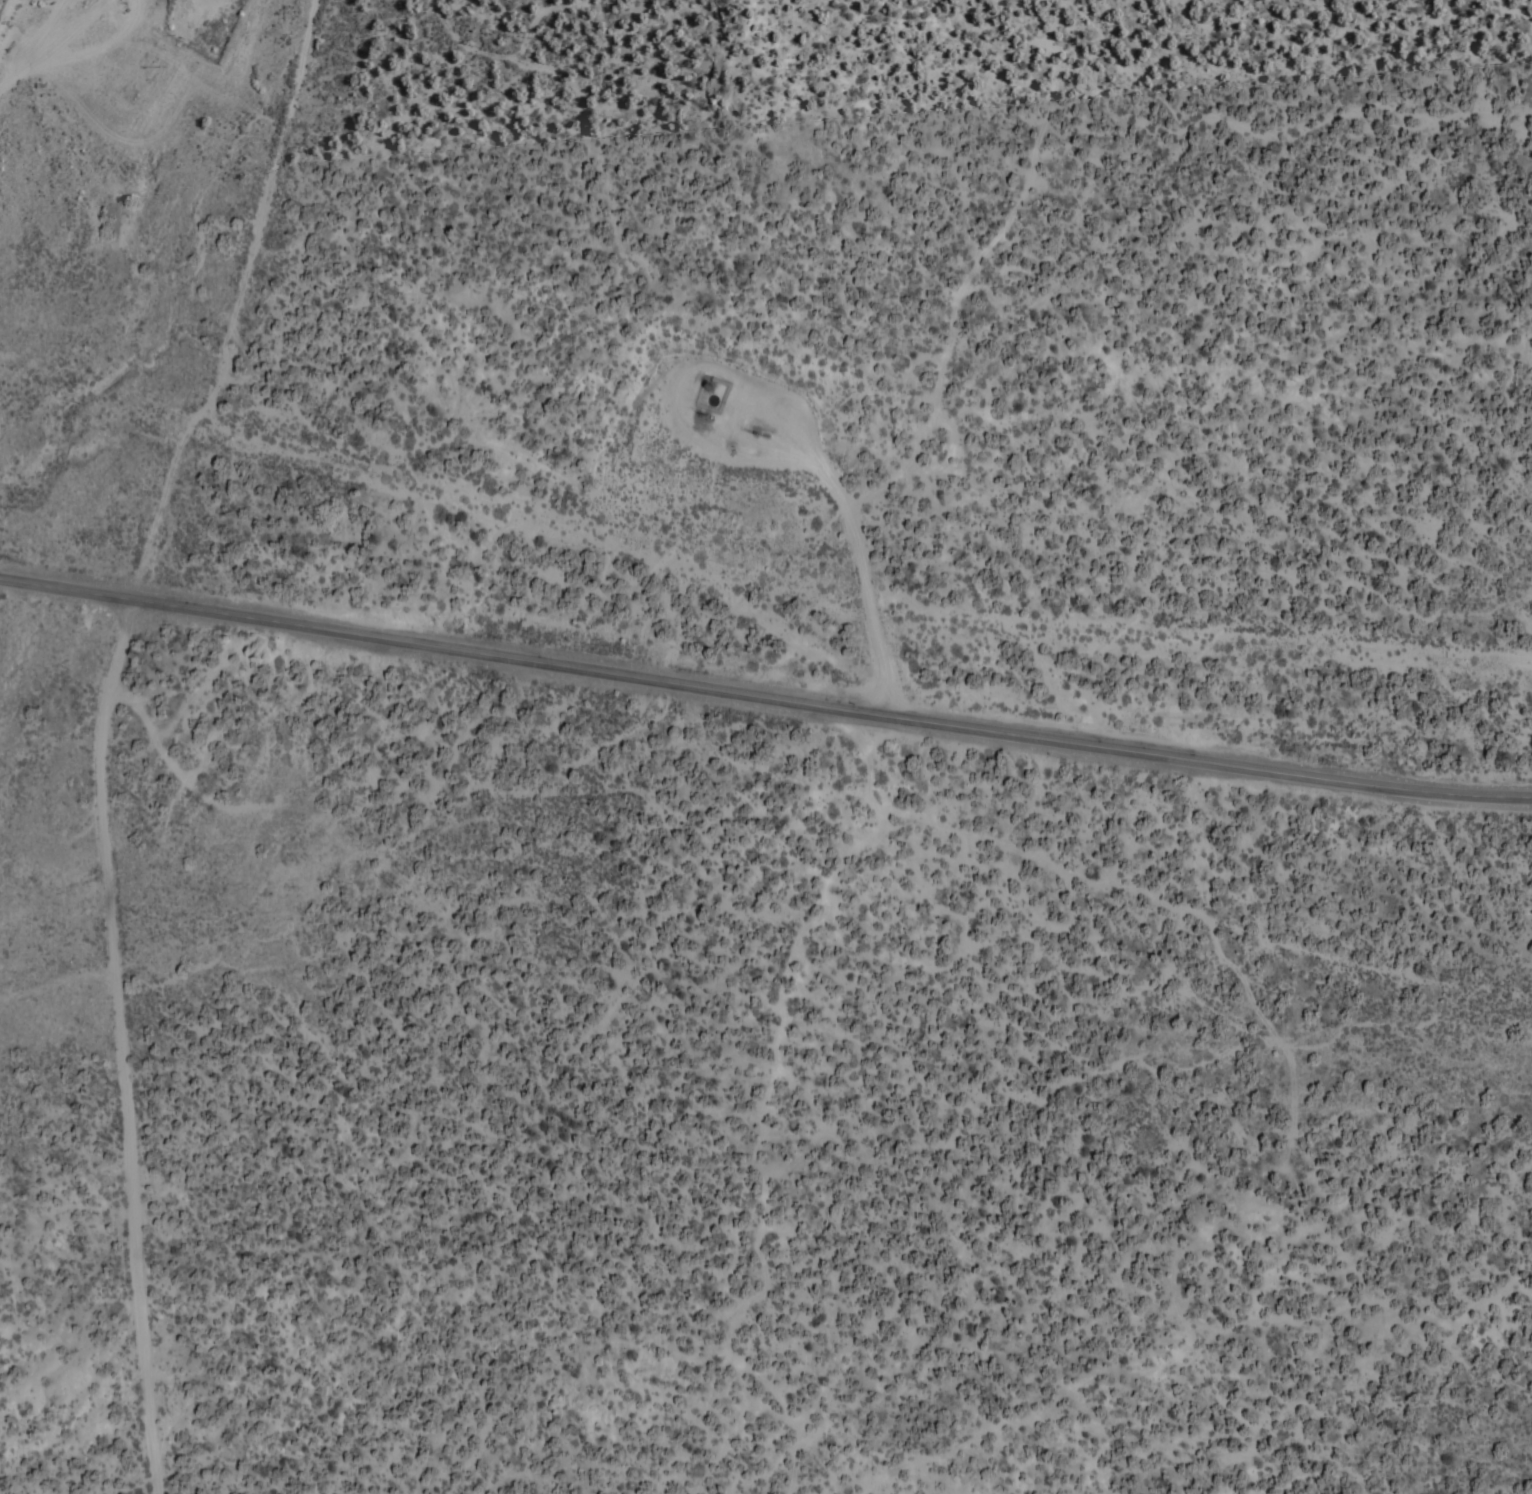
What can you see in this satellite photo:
road: (70, 31)
road: (35, 46)
road: (98, 48)
road: (980, 263)
road: (252, 276)
river: (102, 366)
road: (796, 408)
road: (955, 453)
road: (559, 524)
road: (765, 692)
road: (92, 1044)

